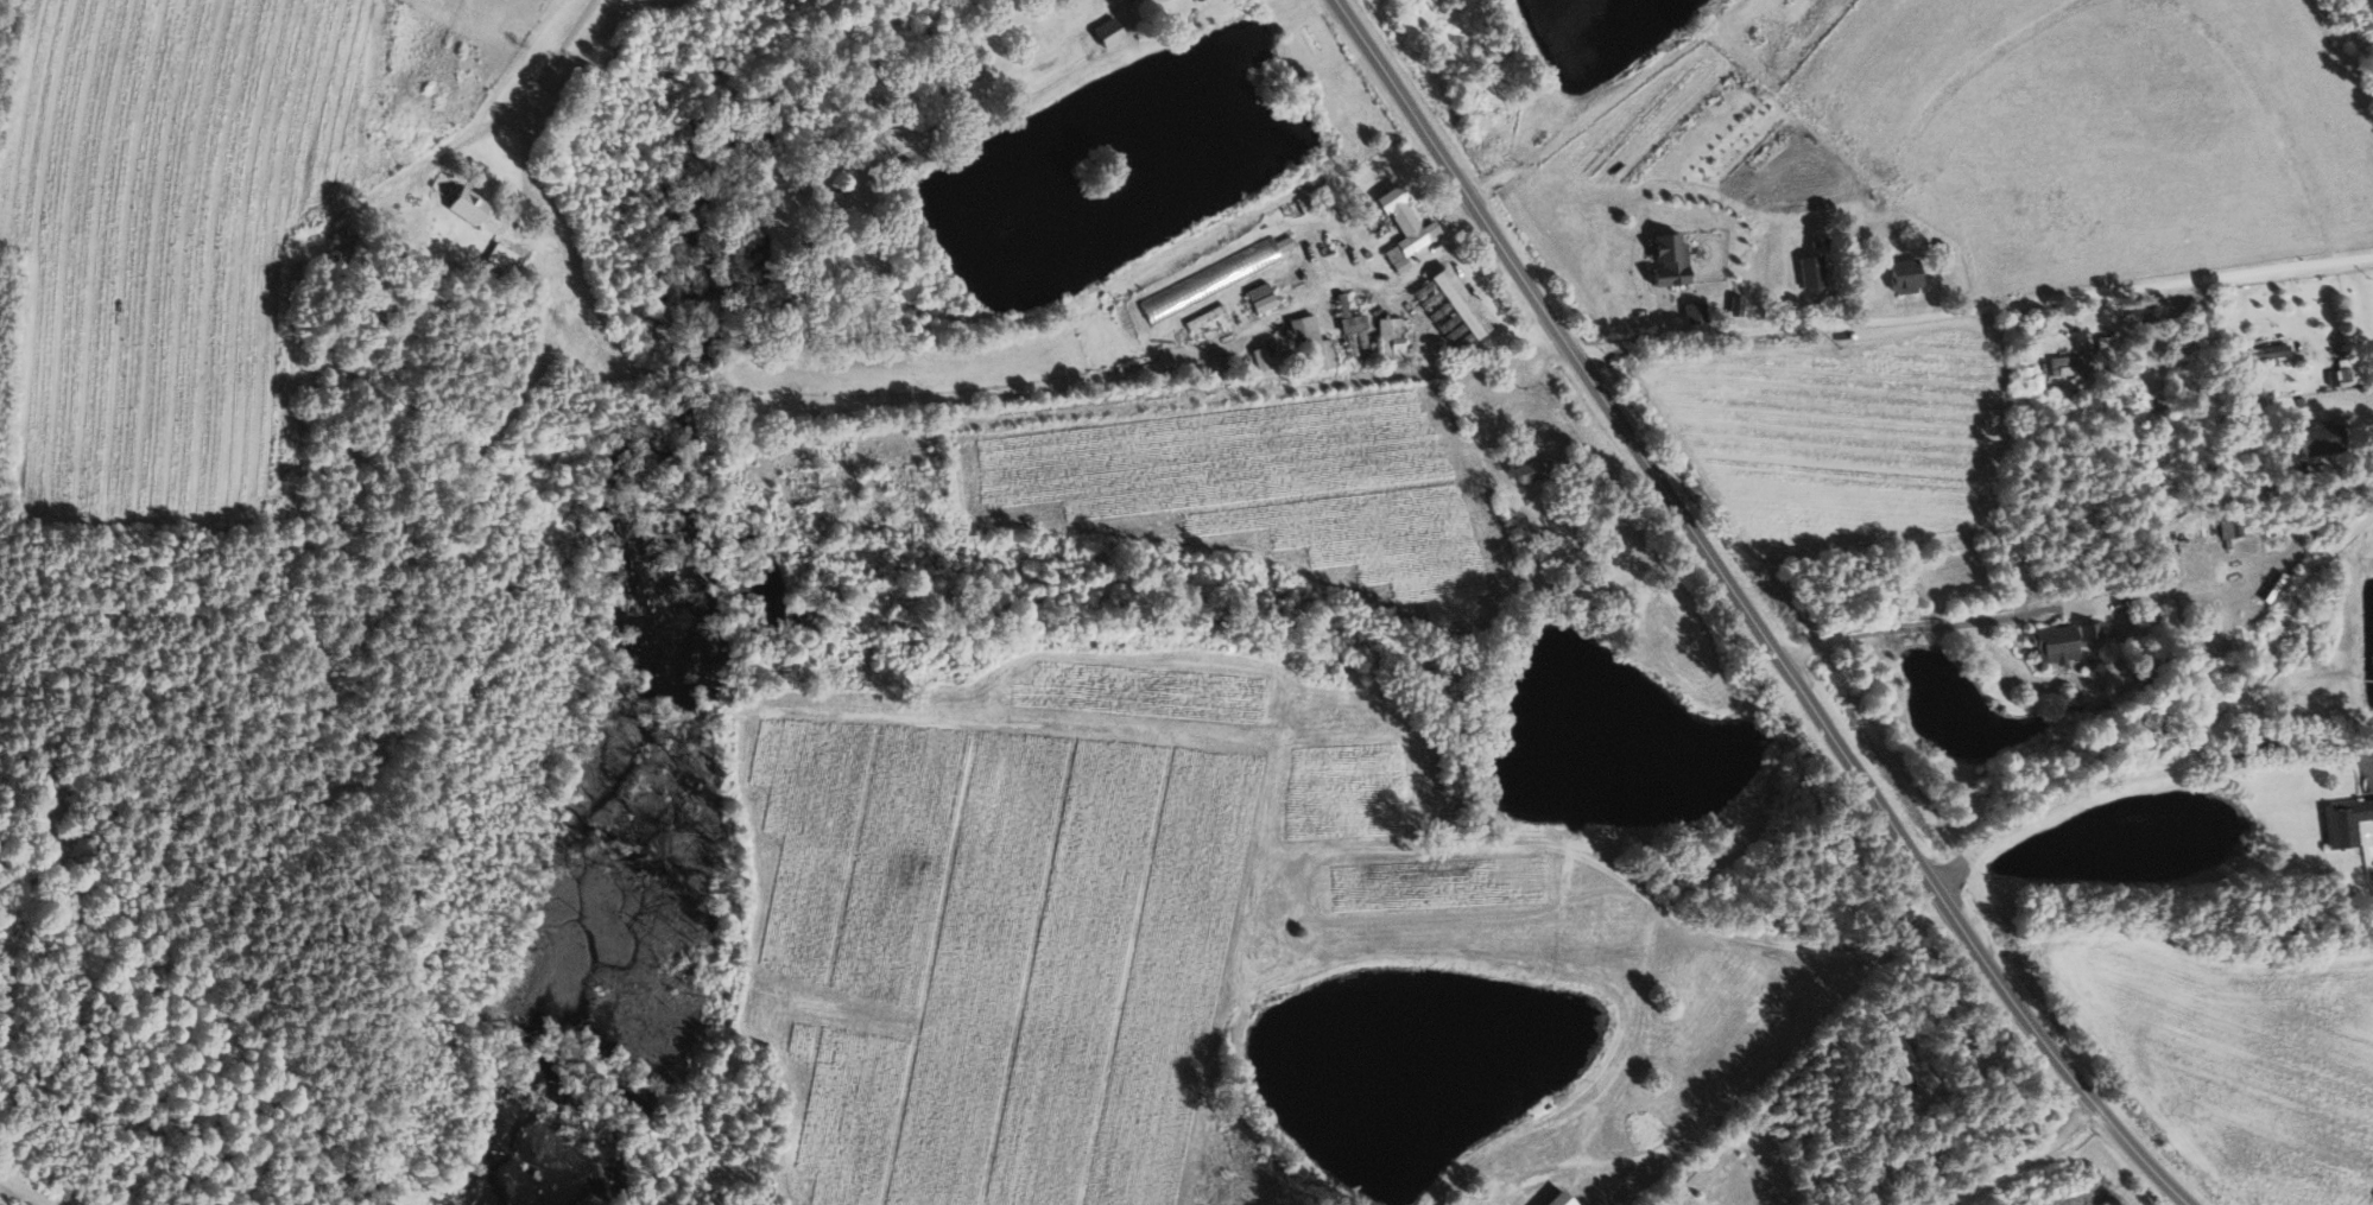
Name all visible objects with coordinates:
building: (1200, 0)
building: (1108, 32)
road: (537, 101)
building: (467, 205)
building: (1404, 229)
building: (504, 258)
building: (1668, 261)
building: (1811, 274)
building: (1904, 275)
building: (1214, 279)
building: (1261, 298)
building: (1460, 303)
road: (1969, 310)
building: (1442, 316)
building: (1352, 323)
building: (1390, 338)
building: (1312, 343)
building: (2264, 353)
building: (1260, 360)
building: (2070, 364)
building: (2322, 438)
building: (1532, 468)
building: (2232, 527)
road: (1740, 613)
road: (1972, 619)
road: (2188, 626)
road: (2277, 636)
building: (2064, 641)
road: (2308, 747)
road: (2073, 794)
building: (2344, 822)
building: (1894, 1054)
road: (1772, 1058)
road: (2018, 1162)

